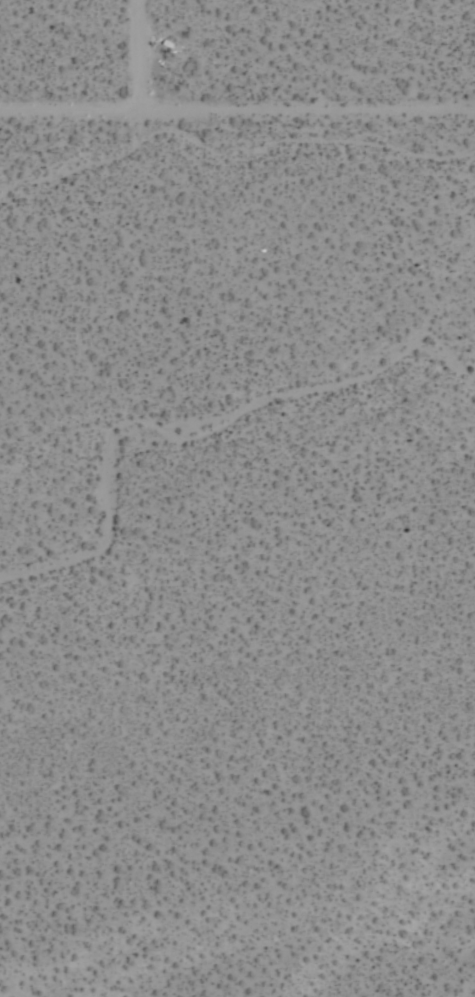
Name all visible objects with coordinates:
road: (142, 55)
road: (237, 111)
crop: (237, 498)

